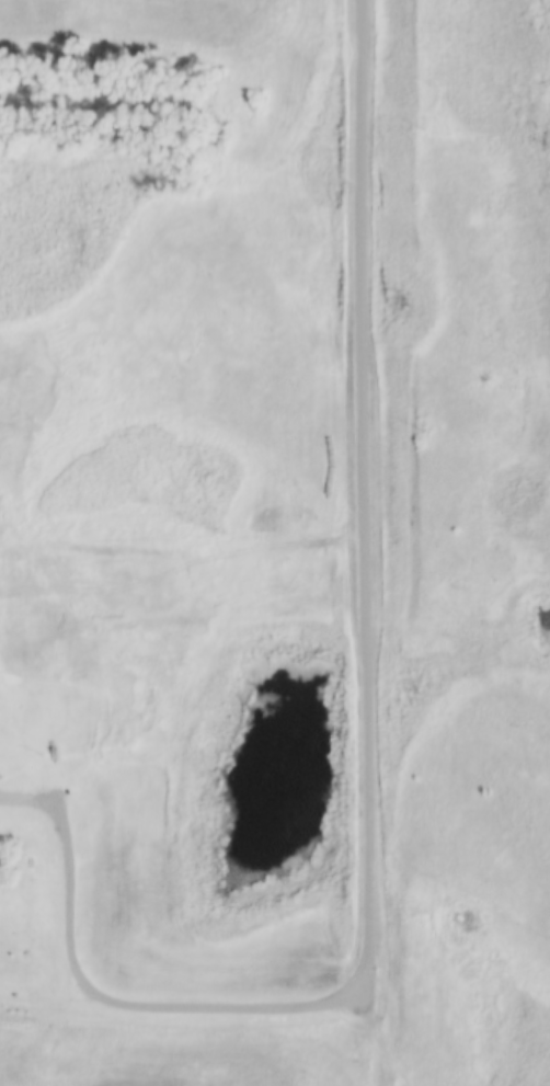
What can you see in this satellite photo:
road: (367, 628)
road: (69, 879)

